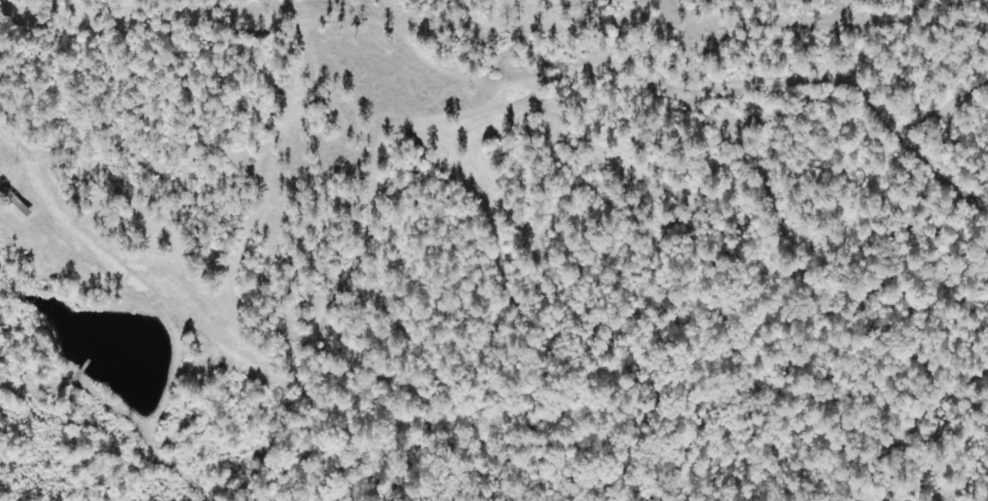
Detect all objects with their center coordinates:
building: (12, 203)

